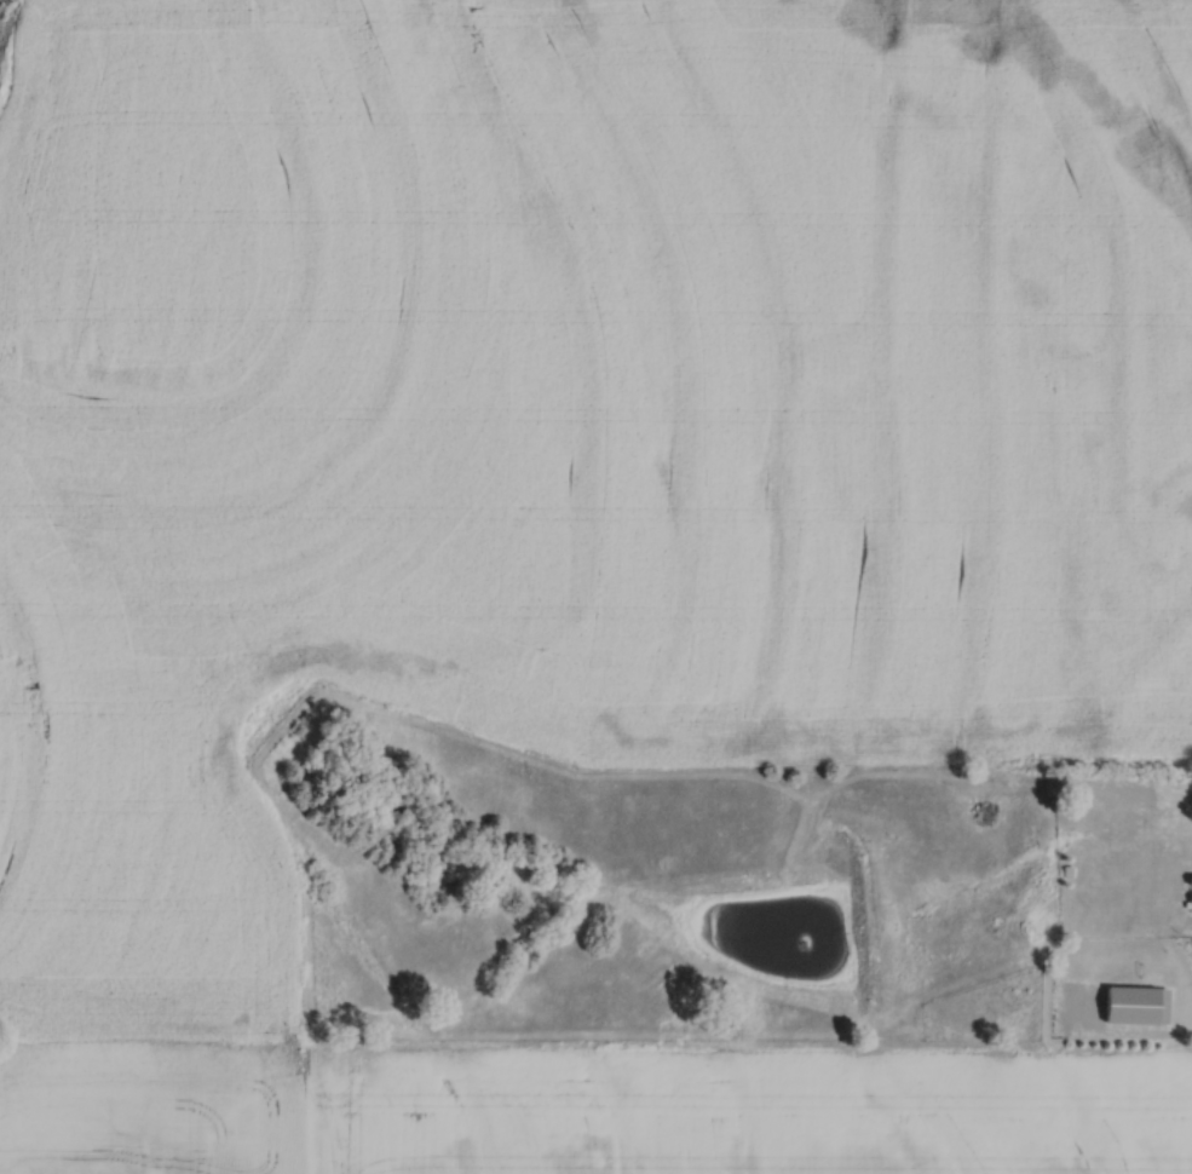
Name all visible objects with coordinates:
building: (1191, 787)
building: (1131, 1006)

